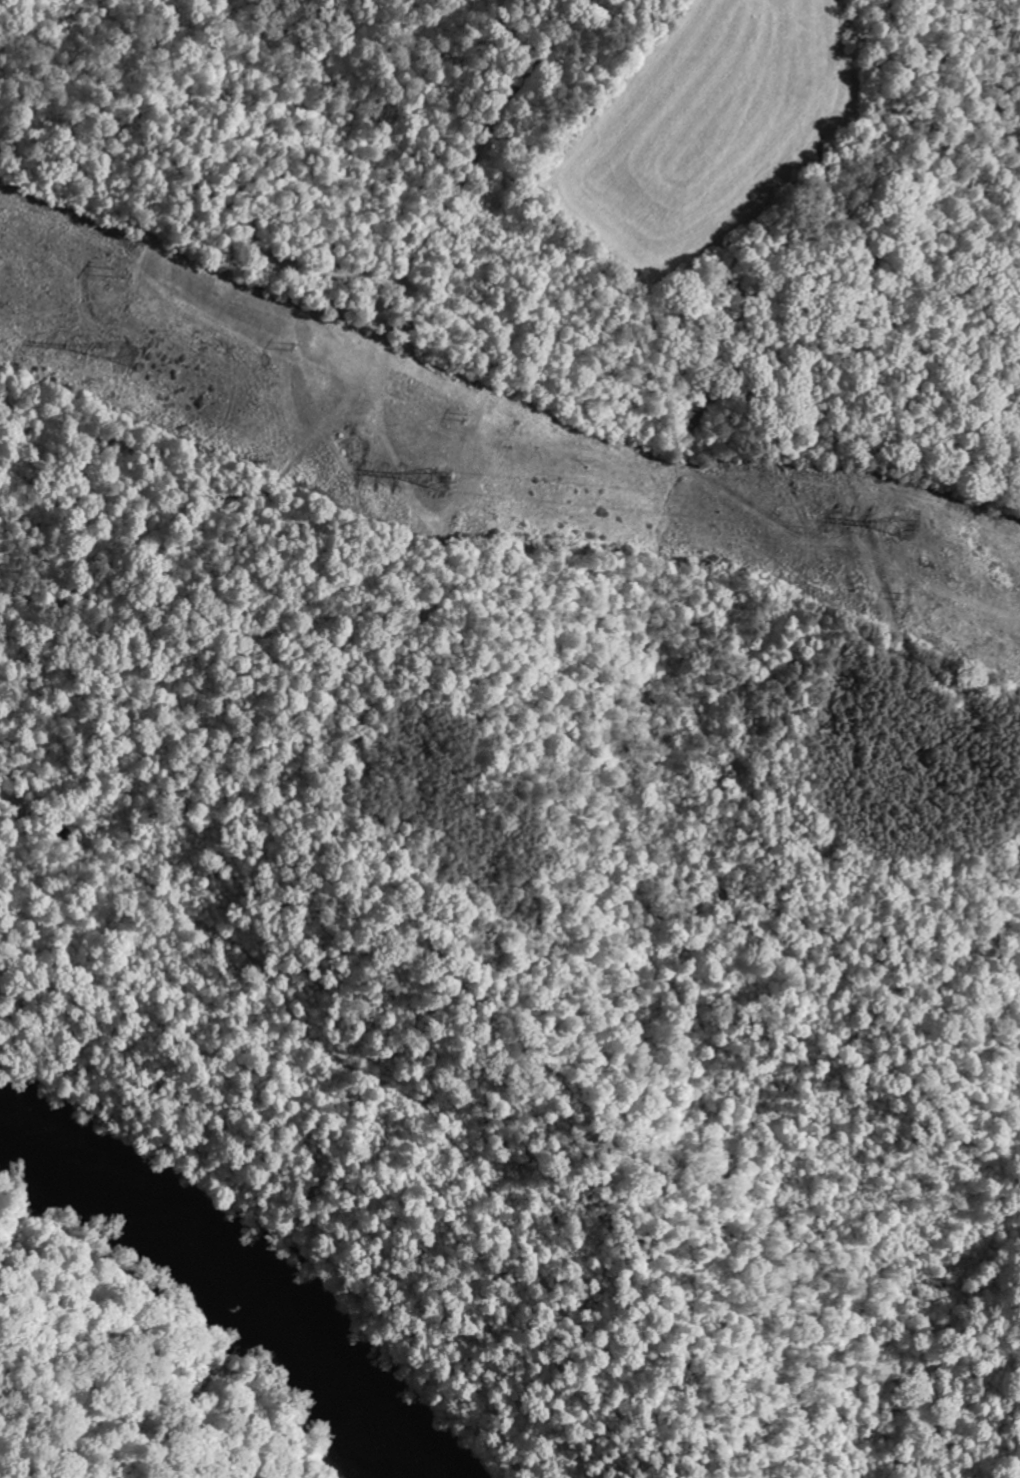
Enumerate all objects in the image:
power tower: (113, 349)
power tower: (429, 479)
power tower: (885, 528)
river: (234, 1267)

